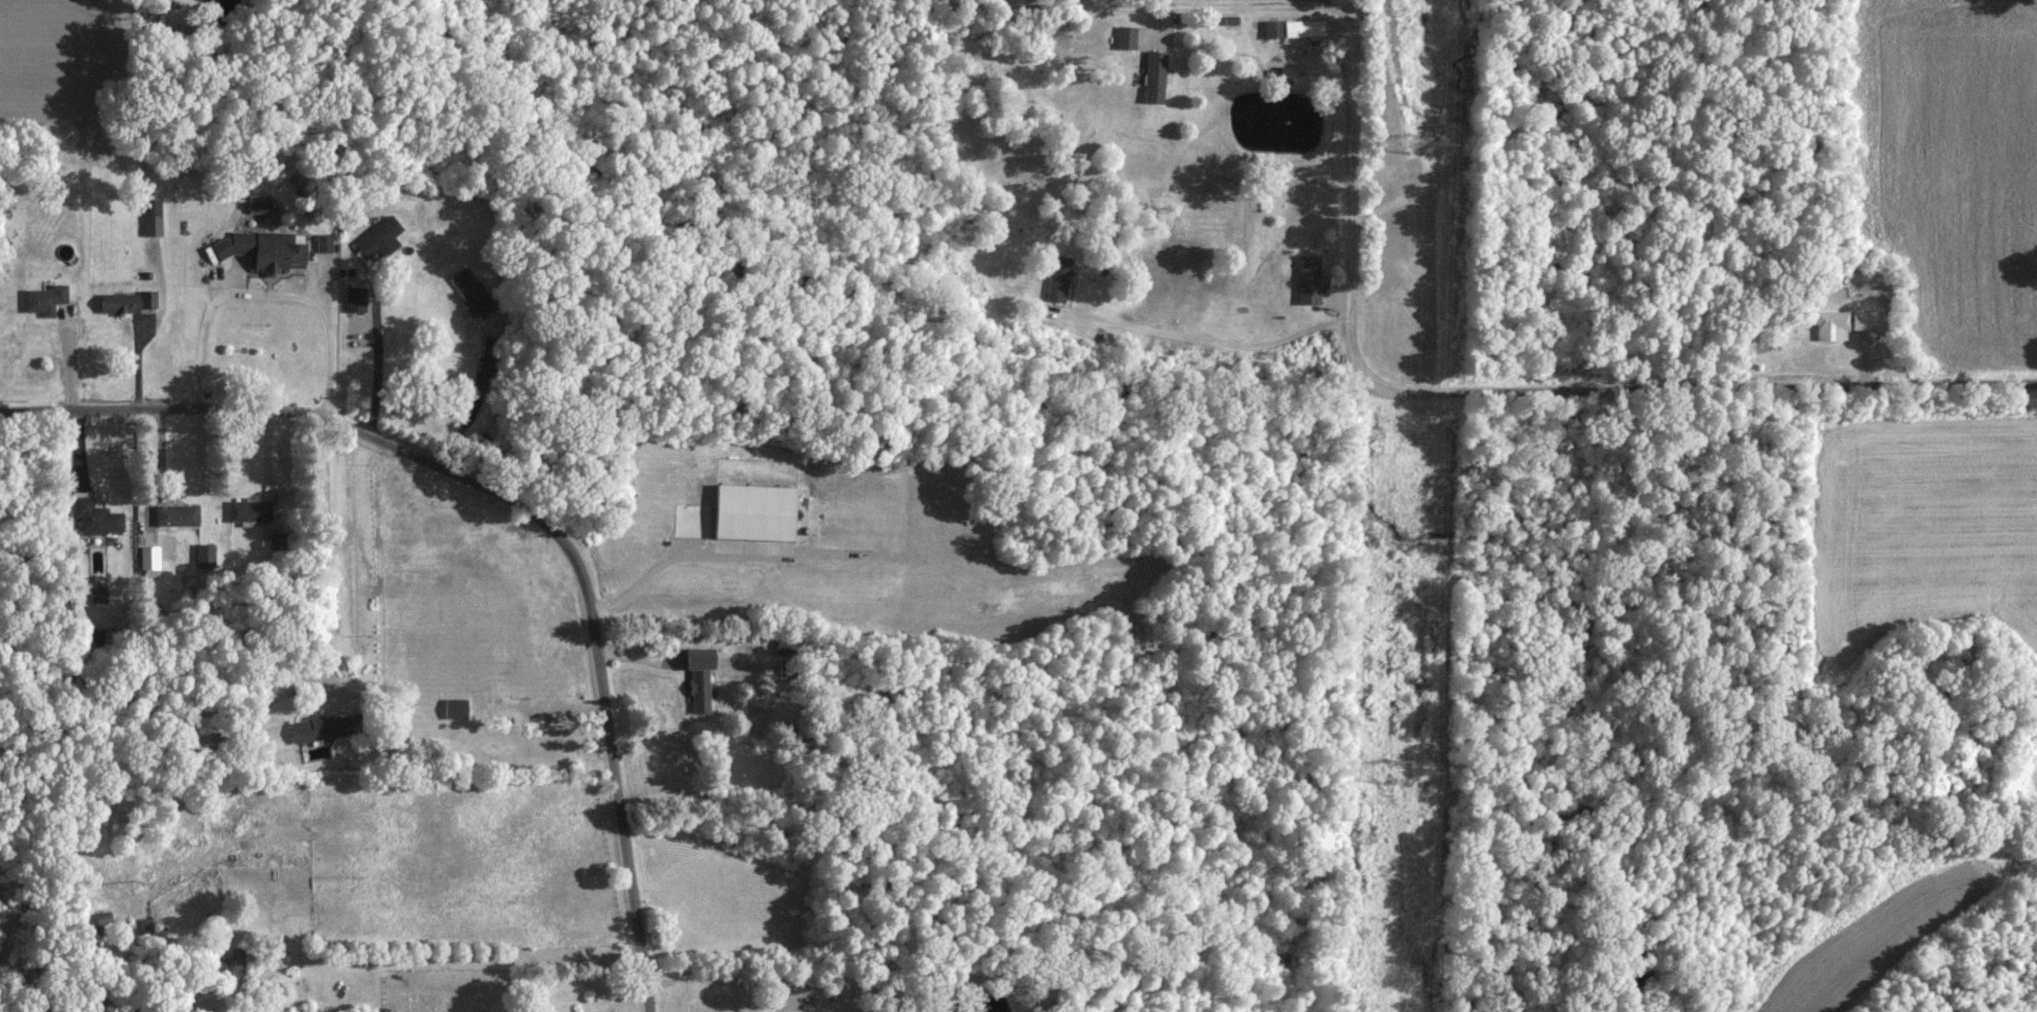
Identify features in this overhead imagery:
building: (1303, 28)
building: (1273, 29)
building: (1125, 37)
road: (1345, 57)
building: (1280, 75)
building: (1154, 76)
power tower: (1420, 143)
building: (152, 218)
building: (378, 237)
building: (323, 242)
building: (262, 249)
building: (1058, 277)
building: (1308, 278)
building: (472, 292)
road: (269, 293)
building: (147, 297)
building: (354, 297)
building: (44, 298)
building: (118, 301)
building: (1864, 319)
building: (1831, 324)
road: (1221, 338)
road: (70, 359)
road: (376, 371)
road: (1689, 378)
road: (523, 501)
building: (249, 509)
building: (753, 510)
building: (175, 513)
building: (95, 515)
road: (331, 549)
building: (204, 554)
building: (148, 556)
building: (97, 593)
building: (698, 677)
building: (454, 707)
building: (319, 727)
power tower: (1400, 774)
building: (148, 925)
road: (727, 970)

